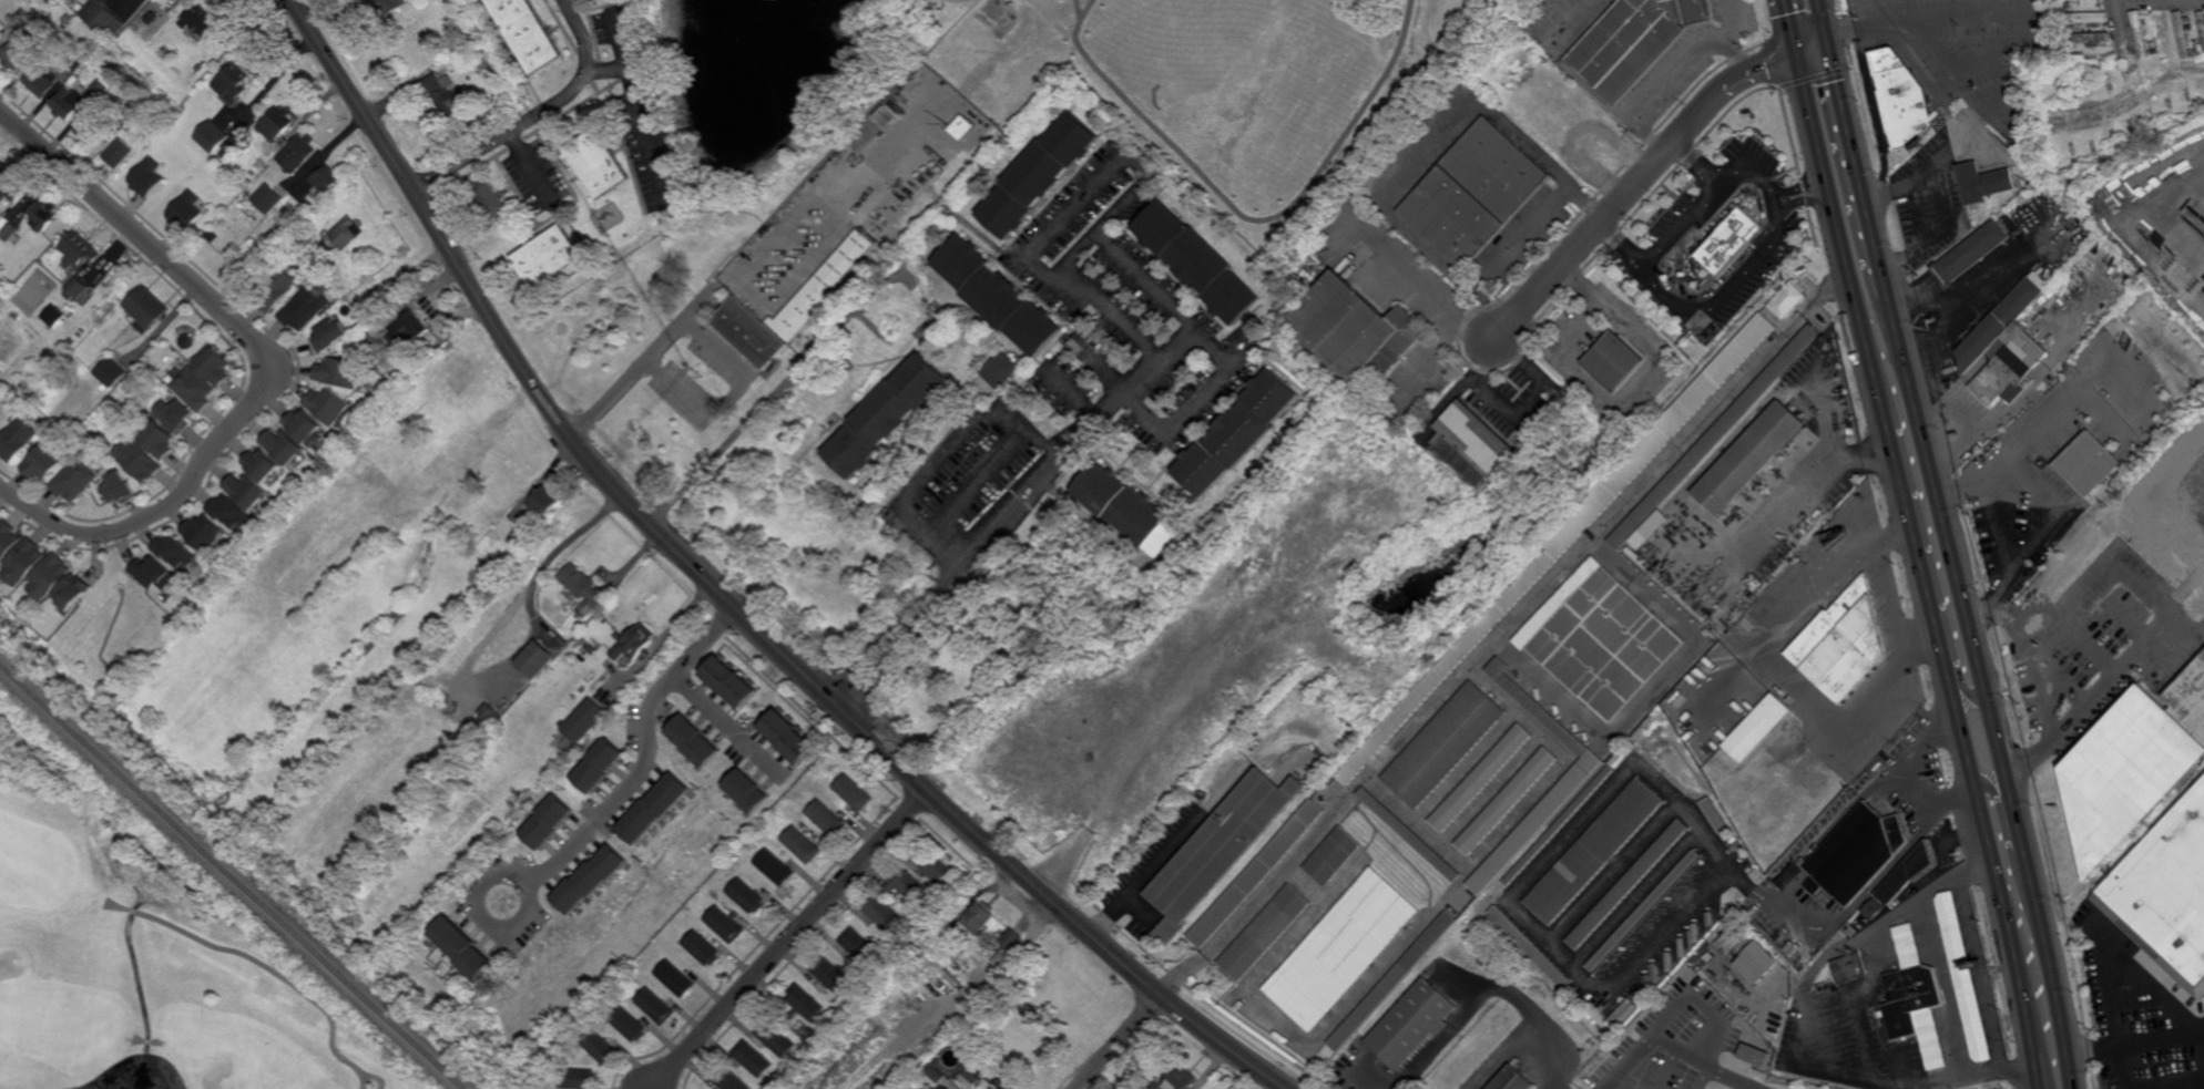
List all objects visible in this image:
road: (2153, 1)
building: (2090, 3)
building: (391, 6)
building: (2067, 6)
building: (81, 7)
road: (1080, 10)
road: (1871, 12)
building: (100, 16)
building: (21, 17)
road: (1822, 17)
building: (67, 19)
building: (2088, 19)
road: (1950, 21)
building: (2202, 22)
building: (198, 24)
road: (1789, 24)
building: (157, 25)
road: (2123, 25)
road: (1849, 29)
building: (529, 32)
building: (1, 33)
building: (2162, 33)
building: (2170, 33)
traffic signals: (1827, 34)
building: (2140, 34)
building: (2183, 35)
building: (2091, 38)
building: (1634, 41)
building: (2196, 42)
traffic signals: (1796, 49)
building: (2073, 49)
building: (2154, 51)
building: (463, 52)
building: (14, 56)
building: (489, 62)
building: (72, 68)
road: (606, 69)
road: (1672, 73)
road: (1962, 79)
building: (41, 82)
building: (233, 84)
building: (445, 95)
building: (1901, 99)
building: (76, 100)
road: (641, 105)
road: (534, 112)
park: (1009, 112)
building: (888, 116)
building: (276, 126)
building: (959, 127)
building: (92, 131)
building: (211, 138)
road: (840, 146)
road: (1428, 152)
building: (119, 154)
building: (297, 154)
building: (259, 163)
road: (529, 163)
building: (598, 164)
road: (1857, 164)
building: (2, 166)
road: (1927, 174)
building: (1035, 175)
road: (1754, 177)
building: (147, 178)
building: (2018, 179)
building: (325, 182)
road: (1640, 182)
building: (1983, 182)
building: (14, 186)
power tower: (2039, 192)
building: (300, 194)
building: (1475, 194)
building: (267, 197)
building: (489, 199)
road: (834, 207)
building: (187, 209)
building: (43, 214)
road: (2166, 216)
road: (1247, 218)
building: (3, 222)
road: (1684, 226)
building: (11, 233)
road: (1940, 233)
building: (348, 234)
road: (1843, 234)
building: (212, 236)
road: (1526, 237)
building: (1726, 238)
building: (80, 249)
building: (1970, 254)
building: (548, 258)
building: (1196, 263)
building: (256, 270)
road: (798, 274)
road: (1420, 287)
building: (75, 288)
building: (275, 288)
building: (997, 298)
building: (2043, 299)
building: (1786, 300)
road: (1721, 301)
building: (2037, 304)
road: (1172, 307)
building: (145, 308)
building: (789, 308)
building: (2033, 308)
building: (304, 309)
building: (54, 316)
building: (1999, 322)
road: (2073, 326)
building: (409, 329)
building: (1354, 332)
building: (329, 336)
building: (365, 341)
building: (70, 342)
building: (894, 345)
building: (866, 349)
road: (269, 362)
building: (1615, 362)
building: (212, 364)
road: (645, 364)
building: (2010, 368)
building: (999, 370)
building: (111, 372)
building: (340, 373)
building: (858, 382)
building: (193, 388)
road: (1197, 397)
building: (819, 402)
road: (725, 404)
building: (328, 405)
building: (173, 414)
building: (887, 415)
road: (751, 419)
road: (1828, 420)
road: (1994, 422)
building: (305, 428)
building: (1236, 433)
building: (1715, 435)
building: (156, 439)
building: (16, 440)
building: (1470, 443)
building: (283, 445)
road: (2016, 452)
road: (941, 455)
building: (1747, 458)
building: (139, 461)
building: (43, 462)
building: (2088, 462)
building: (261, 464)
building: (74, 480)
road: (977, 480)
road: (2043, 482)
building: (120, 489)
building: (245, 491)
road: (1806, 492)
building: (544, 501)
building: (1126, 506)
building: (229, 512)
building: (1673, 516)
building: (0, 521)
building: (202, 532)
building: (1571, 533)
building: (522, 534)
road: (1916, 536)
building: (1642, 538)
building: (8, 540)
road: (561, 546)
road: (1950, 547)
building: (175, 552)
building: (24, 562)
building: (155, 574)
building: (50, 577)
building: (582, 587)
building: (73, 593)
road: (726, 598)
road: (1894, 598)
road: (1502, 633)
building: (1603, 638)
building: (635, 641)
building: (1841, 644)
building: (538, 658)
road: (1780, 665)
building: (732, 680)
road: (1962, 684)
road: (2096, 695)
building: (939, 713)
building: (492, 716)
building: (585, 720)
road: (732, 725)
building: (1755, 728)
building: (790, 736)
building: (694, 740)
building: (1447, 744)
road: (646, 757)
building: (599, 764)
building: (2132, 766)
building: (1482, 778)
building: (748, 791)
road: (1993, 791)
building: (855, 792)
road: (1914, 795)
road: (1955, 800)
building: (1508, 801)
building: (653, 809)
building: (1713, 815)
building: (827, 818)
building: (548, 822)
building: (1537, 822)
building: (1558, 826)
road: (2018, 828)
building: (1409, 833)
building: (759, 835)
building: (803, 845)
road: (1172, 849)
building: (1220, 850)
road: (1992, 850)
building: (1593, 851)
building: (1855, 854)
building: (1334, 856)
building: (932, 864)
building: (776, 869)
building: (1909, 872)
building: (1257, 874)
railway: (233, 875)
building: (590, 880)
road: (1786, 882)
building: (1626, 885)
building: (909, 888)
building: (2165, 895)
building: (748, 897)
road: (1692, 904)
building: (1873, 910)
building: (1642, 911)
building: (885, 916)
road: (481, 918)
building: (977, 918)
building: (727, 926)
building: (1264, 934)
road: (790, 938)
building: (1732, 938)
building: (1010, 939)
building: (861, 948)
building: (1530, 948)
building: (463, 949)
building: (704, 949)
building: (1341, 949)
road: (237, 953)
park: (144, 957)
building: (998, 958)
building: (1700, 963)
building: (1755, 964)
road: (2052, 970)
building: (1845, 972)
road: (1981, 973)
building: (831, 976)
building: (1962, 978)
building: (676, 979)
building: (1392, 982)
building: (1917, 995)
building: (1683, 996)
building: (805, 1003)
building: (655, 1008)
building: (1664, 1023)
building: (629, 1026)
building: (1411, 1026)
road: (1800, 1033)
road: (1652, 1034)
road: (2135, 1039)
building: (776, 1040)
road: (1115, 1042)
building: (600, 1049)
building: (1753, 1056)
building: (752, 1061)
road: (2038, 1068)
building: (976, 1071)
building: (936, 1075)
building: (727, 1079)
building: (1513, 1079)
road: (1705, 1079)
road: (1734, 1079)
building: (579, 1080)
building: (1181, 1080)
building: (931, 1088)
building: (943, 1088)
building: (993, 1088)
building: (1004, 1088)

